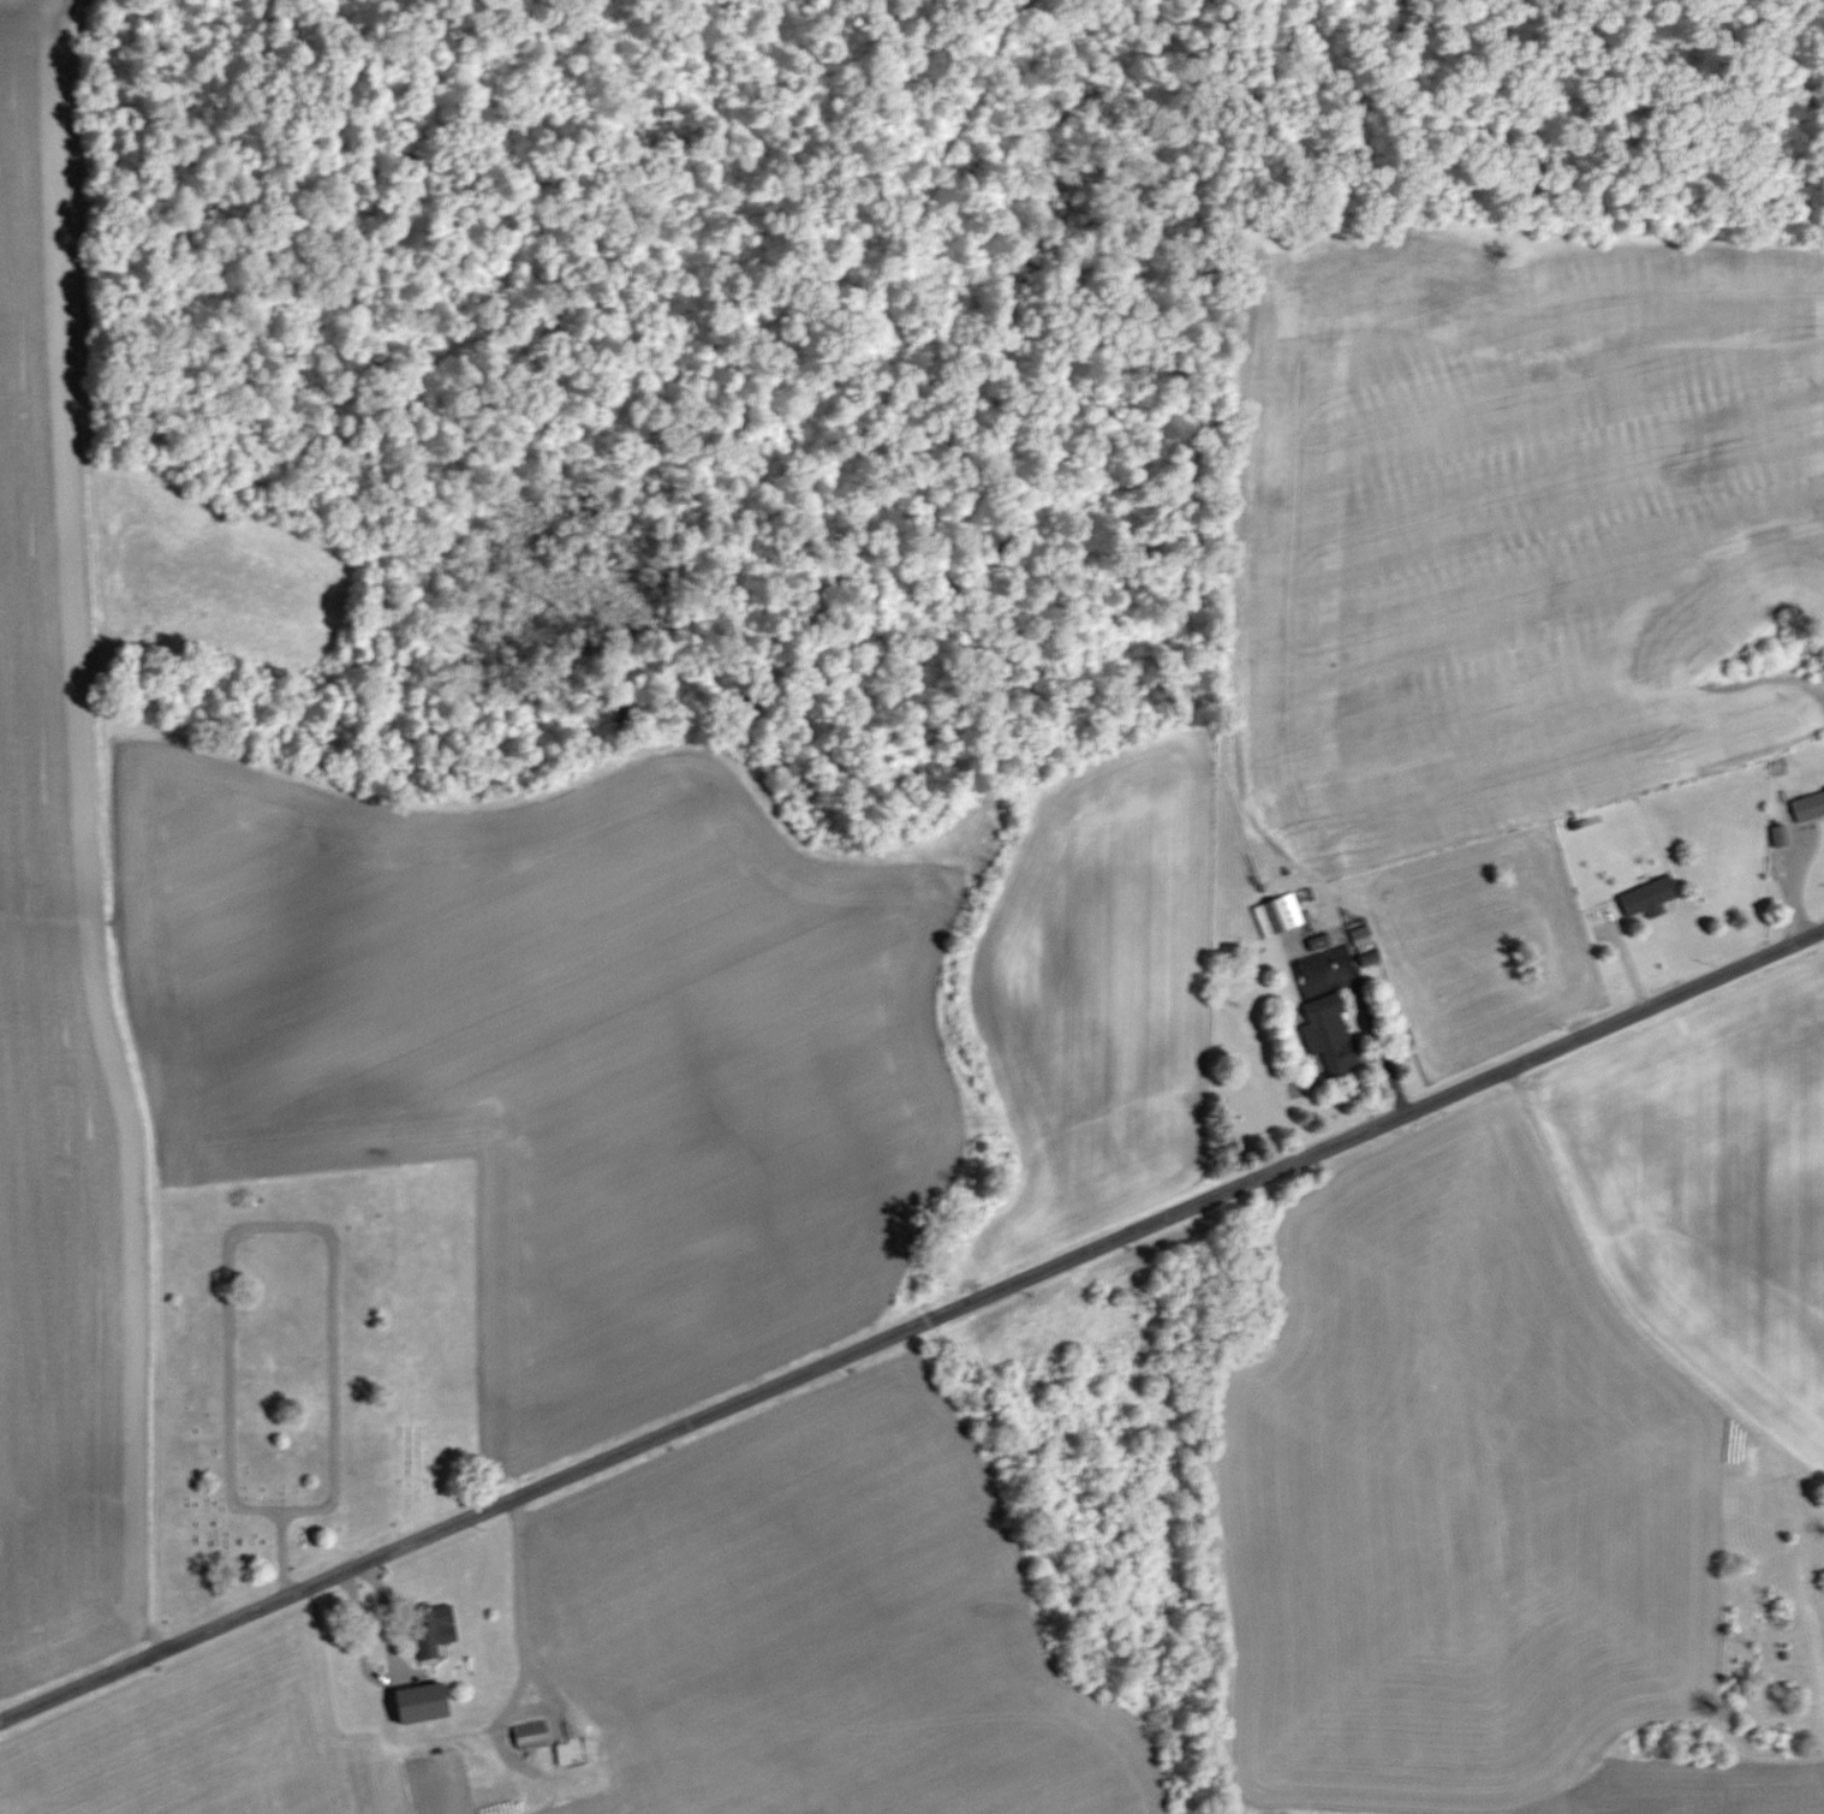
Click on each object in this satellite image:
building: (1806, 805)
building: (1645, 897)
building: (1276, 915)
road: (1373, 1024)
building: (1327, 1034)
road: (912, 1328)
building: (427, 1629)
building: (495, 1689)
building: (418, 1703)
road: (476, 1735)
building: (527, 1735)
building: (559, 1751)

